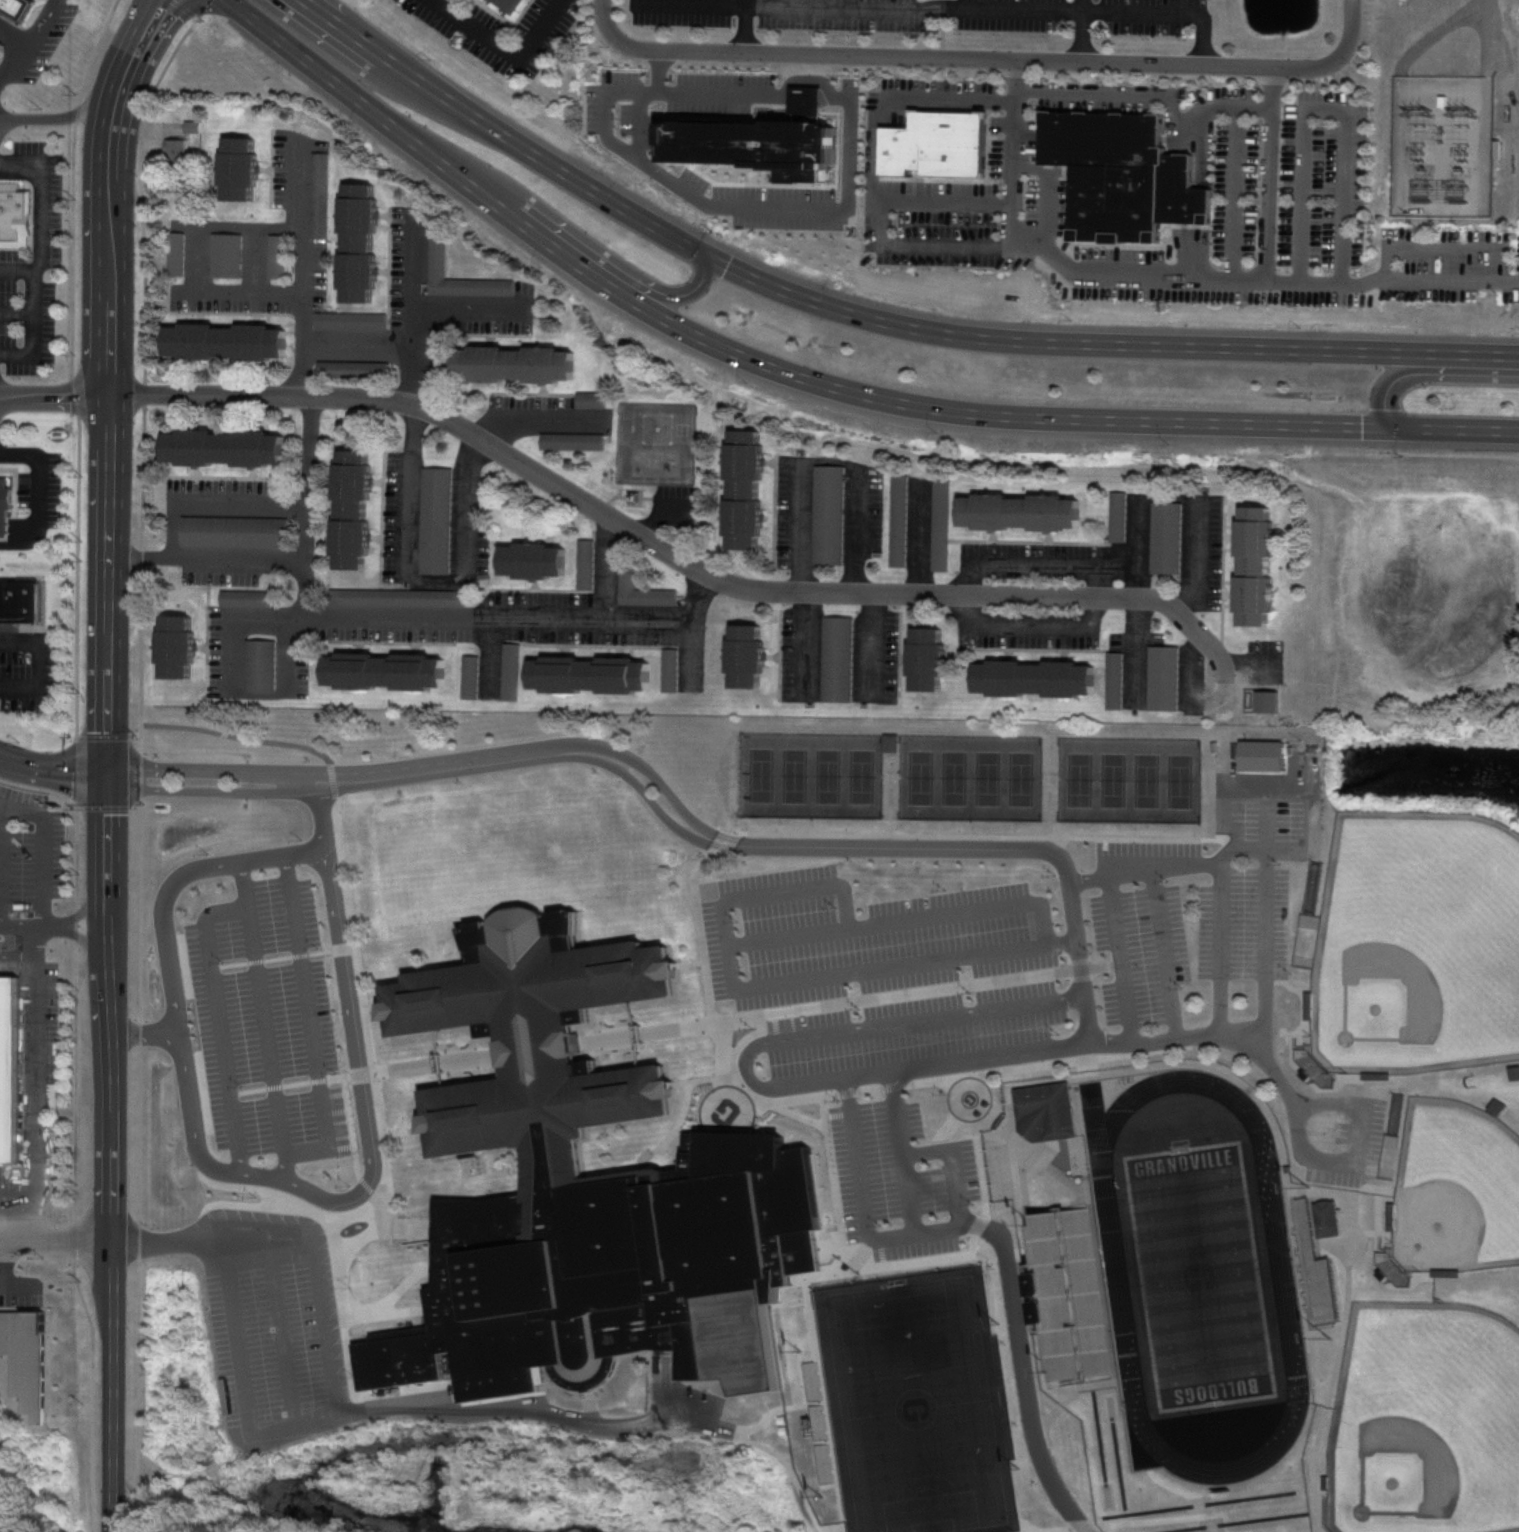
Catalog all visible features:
road: (690, 1)
building: (520, 4)
building: (15, 8)
road: (180, 8)
road: (995, 8)
parking lot: (940, 14)
road: (741, 25)
road: (43, 28)
road: (1080, 29)
parking lot: (506, 32)
road: (1435, 33)
road: (1489, 38)
parking lot: (46, 45)
road: (13, 47)
road: (503, 48)
road: (135, 54)
road: (1495, 57)
road: (982, 58)
road: (13, 66)
road: (1441, 86)
road: (724, 95)
road: (812, 98)
building: (1439, 102)
road: (1502, 104)
road: (1198, 106)
road: (1322, 107)
road: (1252, 108)
road: (57, 113)
road: (406, 134)
road: (504, 134)
building: (752, 134)
power substation: (1439, 146)
building: (175, 150)
building: (237, 168)
road: (1267, 173)
building: (1121, 174)
road: (874, 183)
building: (318, 194)
road: (943, 203)
road: (710, 209)
road: (1439, 209)
road: (39, 214)
building: (14, 215)
building: (356, 241)
road: (1429, 244)
building: (175, 253)
traffic signals: (704, 254)
building: (224, 255)
road: (191, 256)
building: (274, 256)
building: (434, 257)
parking lot: (29, 266)
road: (1175, 275)
road: (656, 293)
road: (17, 307)
road: (409, 310)
road: (464, 313)
building: (348, 320)
road: (34, 324)
road: (355, 336)
building: (224, 340)
road: (1104, 343)
building: (513, 362)
building: (350, 369)
road: (1425, 372)
road: (300, 378)
road: (55, 399)
building: (591, 400)
road: (979, 413)
road: (541, 422)
traffic signals: (1403, 429)
road: (1461, 430)
building: (573, 441)
road: (110, 443)
building: (223, 446)
road: (42, 477)
road: (800, 483)
building: (746, 488)
parking lot: (44, 495)
road: (182, 500)
building: (5, 505)
building: (352, 509)
building: (1020, 512)
building: (830, 515)
building: (1119, 517)
road: (616, 518)
building: (436, 520)
building: (900, 520)
building: (941, 525)
building: (235, 532)
road: (15, 537)
building: (1166, 538)
road: (1137, 548)
road: (240, 555)
building: (534, 560)
road: (1197, 560)
road: (1036, 563)
building: (1256, 565)
road: (607, 567)
road: (423, 579)
road: (1099, 581)
building: (642, 589)
building: (246, 598)
building: (430, 598)
building: (21, 602)
road: (365, 619)
road: (1136, 619)
road: (692, 626)
road: (1028, 627)
road: (876, 645)
building: (177, 646)
building: (747, 656)
building: (838, 659)
building: (928, 659)
road: (39, 662)
building: (262, 664)
building: (386, 671)
building: (513, 672)
building: (590, 674)
building: (1036, 678)
building: (1164, 678)
building: (471, 679)
parking lot: (24, 683)
road: (1195, 694)
building: (1262, 697)
road: (214, 769)
road: (55, 770)
park: (761, 775)
park: (861, 775)
traffic signals: (112, 776)
park: (795, 776)
park: (828, 776)
park: (921, 777)
park: (955, 777)
park: (988, 778)
park: (1021, 778)
park: (1080, 780)
park: (1114, 780)
park: (1147, 781)
park: (1180, 781)
road: (214, 788)
road: (321, 809)
parking lot: (36, 834)
road: (1236, 838)
road: (767, 840)
road: (43, 849)
road: (283, 854)
road: (2, 865)
road: (1144, 870)
road: (1263, 916)
road: (162, 920)
road: (897, 920)
road: (59, 925)
road: (789, 934)
park: (1416, 943)
road: (1219, 949)
road: (1165, 953)
road: (1121, 957)
road: (846, 974)
parking lot: (989, 988)
road: (218, 1001)
parking lot: (265, 1012)
road: (853, 1027)
road: (147, 1029)
road: (266, 1031)
road: (312, 1034)
road: (1029, 1051)
building: (9, 1068)
road: (904, 1072)
road: (37, 1075)
road: (1293, 1109)
building: (1046, 1111)
road: (901, 1151)
road: (116, 1153)
road: (955, 1163)
road: (371, 1165)
park: (1455, 1187)
building: (587, 1191)
road: (29, 1215)
building: (1327, 1218)
road: (860, 1220)
road: (57, 1235)
building: (1377, 1249)
road: (6, 1260)
road: (317, 1264)
building: (1390, 1273)
building: (1445, 1273)
park: (1198, 1274)
track: (1116, 1275)
road: (19, 1287)
building: (1320, 1291)
building: (1073, 1293)
parking lot: (268, 1321)
road: (226, 1336)
road: (1016, 1387)
road: (531, 1408)
park: (917, 1408)
park: (1426, 1421)
road: (792, 1468)
road: (417, 1469)
road: (1071, 1531)

